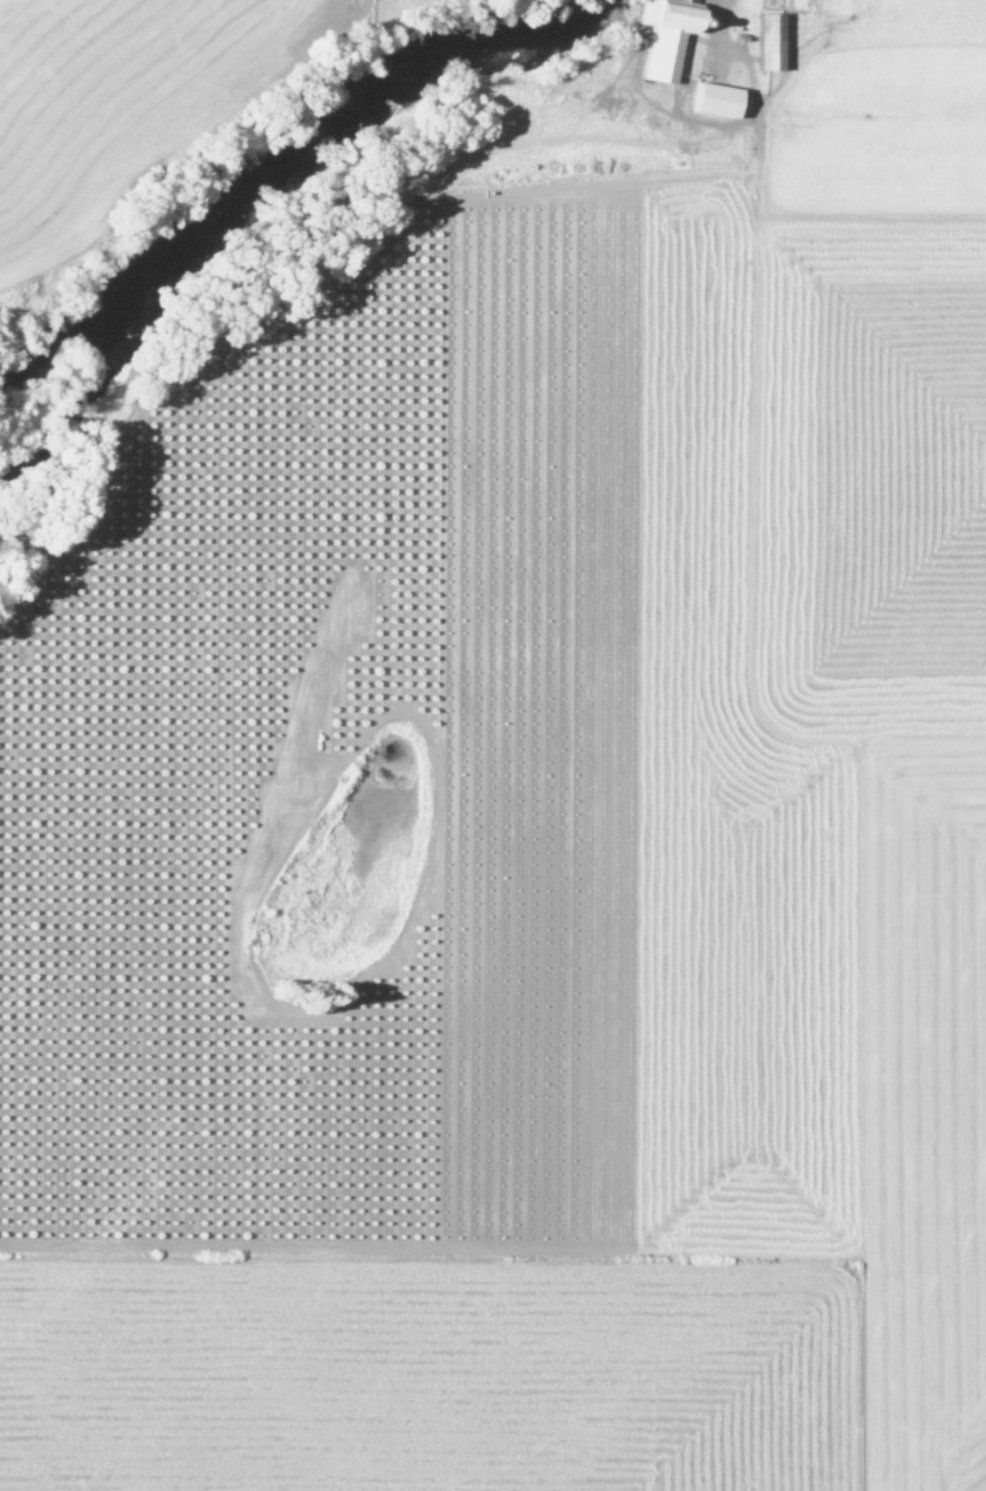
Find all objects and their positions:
building: (667, 35)
building: (770, 41)
building: (717, 99)
crop: (531, 828)

